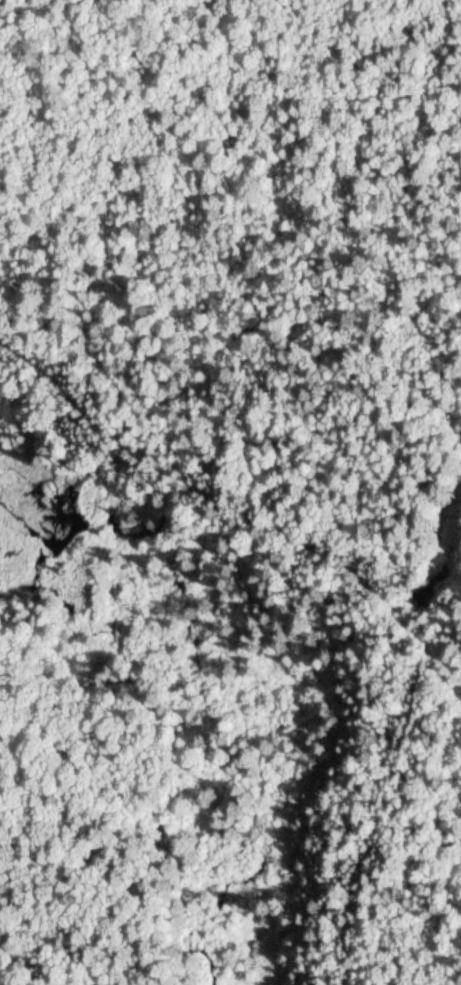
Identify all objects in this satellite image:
road: (336, 559)
road: (409, 658)

